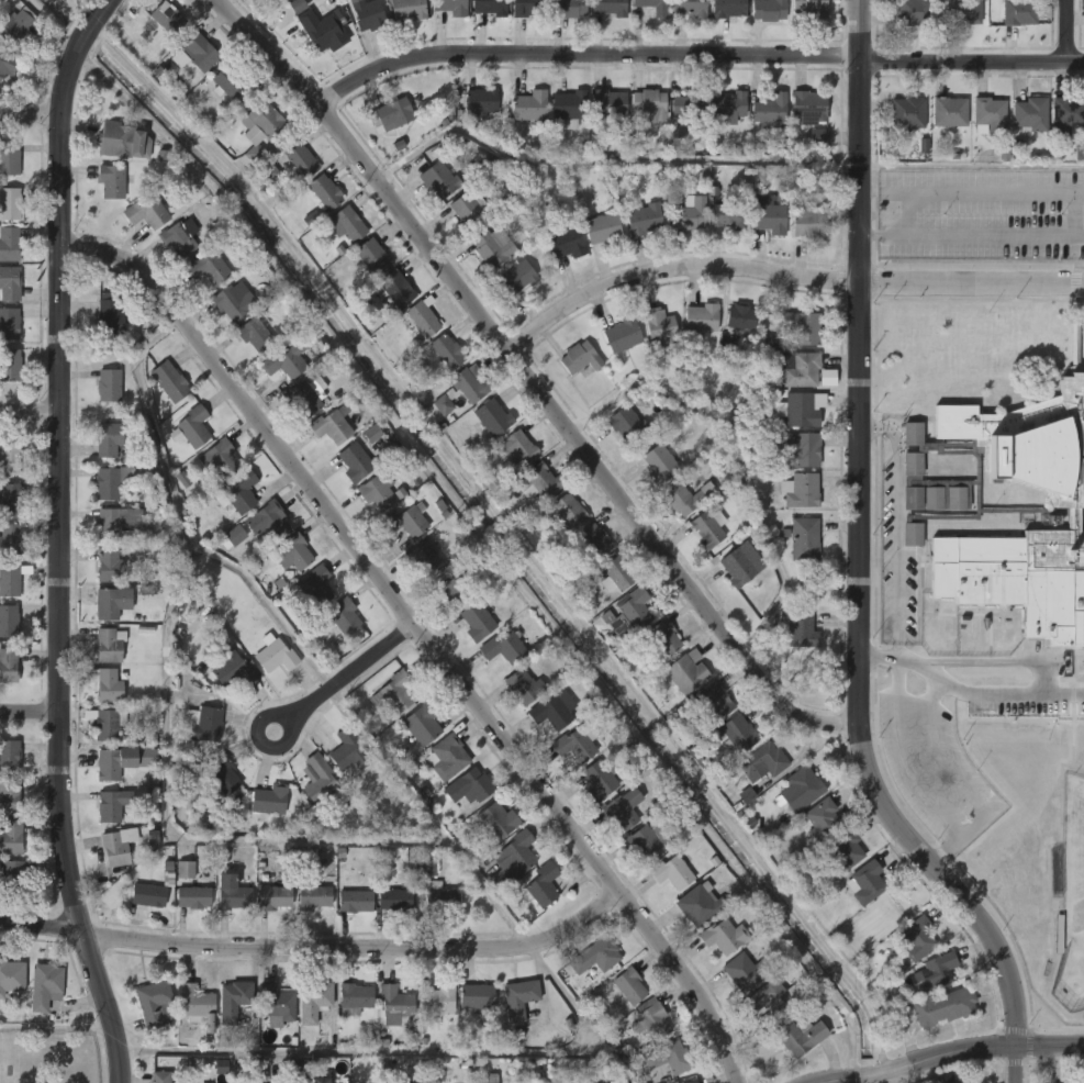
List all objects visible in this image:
building: (266, 0)
building: (452, 5)
building: (488, 7)
building: (608, 7)
building: (656, 7)
building: (693, 7)
building: (406, 8)
building: (529, 8)
building: (568, 8)
building: (729, 8)
building: (814, 8)
building: (770, 9)
building: (917, 12)
building: (963, 12)
building: (1021, 12)
building: (366, 13)
building: (166, 18)
road: (93, 19)
building: (16, 24)
building: (322, 25)
road: (1065, 31)
road: (75, 49)
building: (200, 52)
road: (694, 53)
building: (8, 62)
building: (228, 83)
road: (62, 86)
building: (481, 102)
building: (607, 102)
building: (650, 104)
building: (808, 105)
building: (569, 107)
building: (726, 107)
building: (769, 107)
building: (532, 108)
building: (684, 109)
building: (948, 111)
building: (1069, 111)
building: (395, 112)
road: (30, 114)
building: (906, 114)
building: (1029, 114)
building: (988, 115)
building: (264, 119)
building: (817, 137)
building: (126, 142)
building: (1079, 150)
building: (9, 158)
building: (301, 159)
road: (605, 159)
building: (269, 172)
building: (437, 178)
building: (110, 180)
road: (971, 190)
building: (327, 191)
building: (10, 203)
building: (148, 212)
building: (468, 212)
building: (689, 212)
road: (910, 212)
road: (1073, 212)
building: (727, 215)
building: (310, 217)
building: (642, 219)
building: (769, 219)
building: (808, 222)
building: (348, 224)
building: (602, 228)
road: (971, 234)
building: (181, 237)
building: (563, 243)
building: (9, 244)
building: (490, 247)
building: (373, 256)
building: (210, 267)
road: (786, 275)
building: (516, 277)
building: (11, 282)
building: (396, 288)
building: (232, 301)
building: (109, 313)
building: (739, 316)
building: (699, 319)
building: (424, 320)
building: (9, 323)
building: (659, 326)
building: (803, 326)
building: (101, 333)
building: (256, 334)
building: (624, 335)
building: (448, 351)
building: (582, 358)
building: (284, 362)
building: (10, 365)
building: (803, 369)
road: (528, 377)
building: (169, 381)
building: (467, 383)
building: (110, 386)
building: (303, 399)
building: (443, 404)
building: (798, 407)
road: (30, 411)
building: (492, 416)
building: (626, 424)
building: (333, 425)
building: (192, 426)
building: (371, 433)
building: (111, 437)
building: (801, 448)
building: (511, 451)
building: (9, 456)
building: (221, 458)
building: (356, 462)
building: (659, 464)
building: (538, 480)
building: (108, 484)
building: (802, 490)
building: (376, 491)
building: (238, 492)
building: (684, 498)
building: (10, 501)
building: (1005, 506)
building: (566, 510)
building: (150, 517)
building: (268, 520)
building: (407, 521)
building: (116, 523)
road: (167, 526)
building: (707, 527)
building: (235, 535)
building: (13, 536)
building: (803, 537)
building: (592, 539)
road: (898, 544)
building: (293, 552)
building: (425, 558)
building: (741, 562)
building: (110, 566)
road: (856, 567)
building: (618, 574)
building: (10, 581)
building: (455, 585)
building: (313, 587)
road: (59, 602)
building: (112, 602)
building: (628, 613)
building: (345, 616)
building: (9, 621)
building: (478, 621)
building: (801, 629)
building: (303, 630)
road: (424, 635)
building: (663, 637)
building: (108, 645)
building: (505, 649)
building: (273, 654)
road: (987, 660)
building: (9, 666)
building: (232, 668)
building: (685, 671)
building: (266, 672)
road: (345, 677)
building: (105, 684)
building: (224, 686)
building: (524, 686)
building: (396, 691)
road: (983, 693)
building: (716, 701)
building: (552, 710)
road: (30, 712)
building: (107, 724)
building: (204, 724)
building: (424, 724)
building: (738, 733)
building: (197, 743)
building: (574, 743)
building: (347, 748)
building: (10, 756)
building: (448, 757)
building: (111, 762)
building: (764, 762)
building: (337, 767)
building: (223, 777)
building: (319, 780)
building: (599, 780)
building: (468, 786)
building: (803, 786)
building: (214, 793)
building: (311, 796)
building: (10, 797)
building: (269, 800)
building: (113, 805)
building: (622, 808)
building: (260, 817)
building: (823, 819)
building: (493, 822)
road: (411, 823)
road: (954, 827)
building: (11, 838)
building: (651, 840)
road: (157, 844)
building: (114, 846)
building: (846, 852)
building: (512, 859)
building: (427, 868)
building: (186, 870)
building: (670, 872)
building: (14, 877)
building: (868, 883)
building: (539, 885)
building: (233, 892)
building: (147, 895)
building: (314, 895)
building: (439, 896)
building: (192, 897)
building: (273, 897)
building: (394, 898)
building: (354, 901)
building: (697, 904)
building: (920, 935)
building: (723, 936)
road: (317, 948)
building: (595, 956)
building: (746, 970)
building: (937, 970)
building: (11, 975)
building: (630, 985)
building: (43, 986)
building: (357, 996)
building: (481, 996)
building: (522, 997)
building: (235, 998)
building: (439, 998)
building: (771, 1000)
building: (312, 1001)
building: (276, 1002)
building: (150, 1003)
building: (398, 1004)
building: (194, 1005)
building: (941, 1007)
road: (585, 1013)
building: (650, 1019)
road: (56, 1027)
building: (800, 1036)
road: (362, 1052)
building: (671, 1057)
road: (951, 1058)
building: (297, 1068)
building: (257, 1069)
building: (159, 1076)
building: (491, 1079)
building: (319, 1081)
building: (597, 1081)
building: (691, 1081)
building: (402, 1082)
building: (957, 1082)

